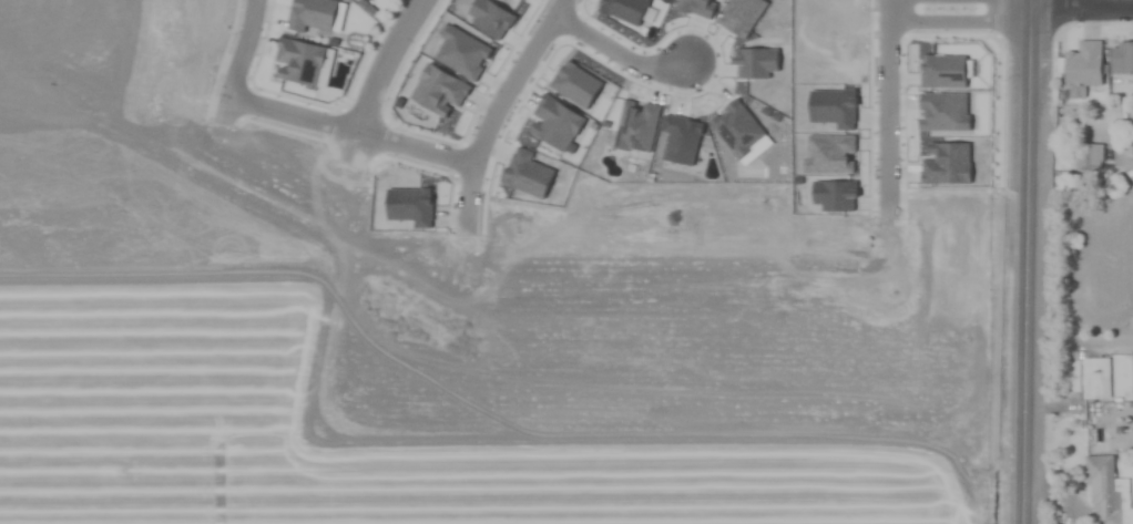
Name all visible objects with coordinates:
road: (1082, 7)
road: (958, 25)
road: (616, 50)
building: (1121, 59)
road: (239, 61)
building: (1083, 66)
road: (377, 79)
road: (884, 105)
road: (295, 117)
road: (486, 131)
building: (1089, 158)
crop: (566, 261)
road: (1028, 261)
building: (1096, 379)
building: (1108, 492)

